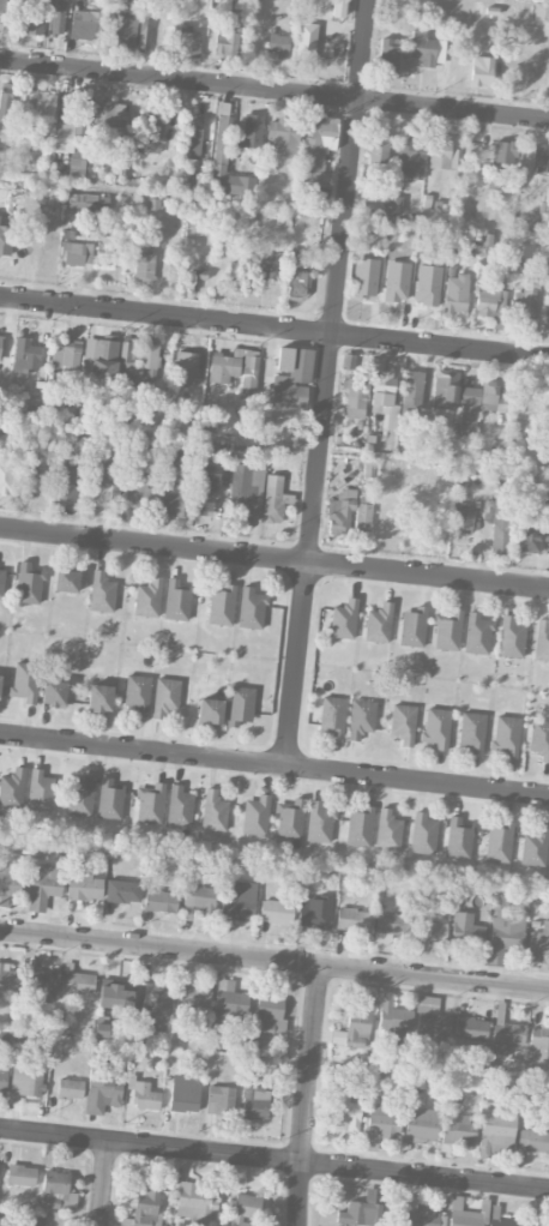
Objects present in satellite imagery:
building: (134, 6)
building: (338, 8)
building: (495, 8)
building: (1, 16)
building: (31, 17)
building: (58, 18)
building: (86, 20)
building: (119, 30)
building: (144, 31)
building: (187, 41)
building: (225, 41)
building: (306, 42)
building: (278, 43)
building: (427, 48)
building: (388, 55)
building: (481, 71)
road: (274, 90)
building: (44, 103)
building: (6, 107)
building: (80, 110)
building: (110, 120)
building: (252, 131)
building: (153, 133)
building: (193, 133)
building: (283, 137)
building: (62, 138)
building: (221, 140)
building: (316, 149)
building: (379, 149)
building: (78, 151)
building: (440, 152)
building: (503, 152)
building: (410, 156)
building: (541, 157)
building: (240, 185)
building: (373, 199)
building: (82, 202)
building: (396, 204)
building: (5, 239)
building: (77, 252)
building: (266, 256)
building: (144, 265)
building: (235, 276)
building: (197, 280)
road: (338, 280)
building: (297, 283)
building: (456, 292)
building: (489, 298)
building: (525, 301)
building: (547, 308)
road: (273, 327)
building: (0, 344)
building: (127, 353)
building: (147, 353)
building: (66, 354)
building: (25, 356)
building: (102, 356)
building: (251, 361)
building: (348, 361)
building: (186, 367)
building: (223, 367)
building: (149, 374)
building: (291, 377)
building: (412, 391)
building: (354, 397)
building: (384, 397)
building: (493, 397)
building: (457, 399)
building: (26, 482)
building: (65, 482)
building: (107, 483)
building: (246, 483)
building: (206, 489)
building: (137, 492)
building: (273, 499)
building: (170, 500)
building: (340, 511)
building: (362, 515)
building: (499, 517)
building: (461, 518)
building: (531, 533)
road: (153, 543)
road: (428, 573)
building: (66, 579)
building: (0, 583)
building: (28, 583)
building: (101, 593)
building: (147, 597)
building: (176, 600)
building: (221, 605)
building: (251, 608)
building: (344, 619)
building: (379, 623)
building: (414, 627)
building: (447, 630)
building: (477, 633)
building: (511, 637)
building: (542, 641)
road: (297, 662)
building: (0, 678)
building: (25, 681)
building: (53, 692)
building: (137, 693)
building: (165, 697)
building: (99, 698)
building: (240, 705)
building: (210, 710)
building: (332, 715)
building: (361, 717)
building: (403, 723)
building: (436, 727)
building: (472, 732)
building: (506, 735)
building: (539, 739)
road: (274, 763)
building: (12, 788)
building: (40, 791)
building: (80, 797)
building: (109, 799)
building: (150, 804)
building: (179, 806)
building: (213, 811)
building: (255, 816)
building: (290, 818)
building: (320, 822)
building: (360, 828)
building: (388, 830)
building: (423, 834)
building: (458, 839)
building: (499, 842)
building: (535, 847)
building: (11, 877)
building: (83, 884)
building: (43, 885)
building: (122, 891)
building: (200, 899)
building: (161, 901)
building: (501, 902)
building: (237, 907)
building: (276, 912)
building: (315, 912)
building: (352, 919)
building: (387, 922)
building: (429, 930)
building: (466, 930)
building: (505, 936)
building: (537, 943)
road: (273, 958)
building: (8, 976)
building: (78, 982)
building: (40, 986)
building: (192, 996)
building: (115, 998)
building: (153, 999)
building: (229, 1004)
building: (266, 1014)
building: (392, 1020)
building: (430, 1024)
building: (280, 1026)
building: (354, 1027)
building: (470, 1028)
building: (506, 1038)
building: (537, 1048)
building: (2, 1077)
building: (25, 1081)
building: (70, 1088)
building: (103, 1089)
building: (143, 1093)
building: (183, 1093)
road: (306, 1094)
building: (219, 1100)
building: (254, 1100)
building: (348, 1107)
building: (384, 1120)
building: (421, 1124)
building: (458, 1130)
building: (496, 1130)
building: (533, 1140)
road: (273, 1158)
building: (20, 1174)
road: (104, 1183)
building: (56, 1190)
building: (195, 1203)
building: (145, 1207)
building: (245, 1209)
building: (361, 1213)
building: (463, 1214)
building: (422, 1218)
building: (503, 1222)
building: (527, 1225)
building: (542, 1225)

